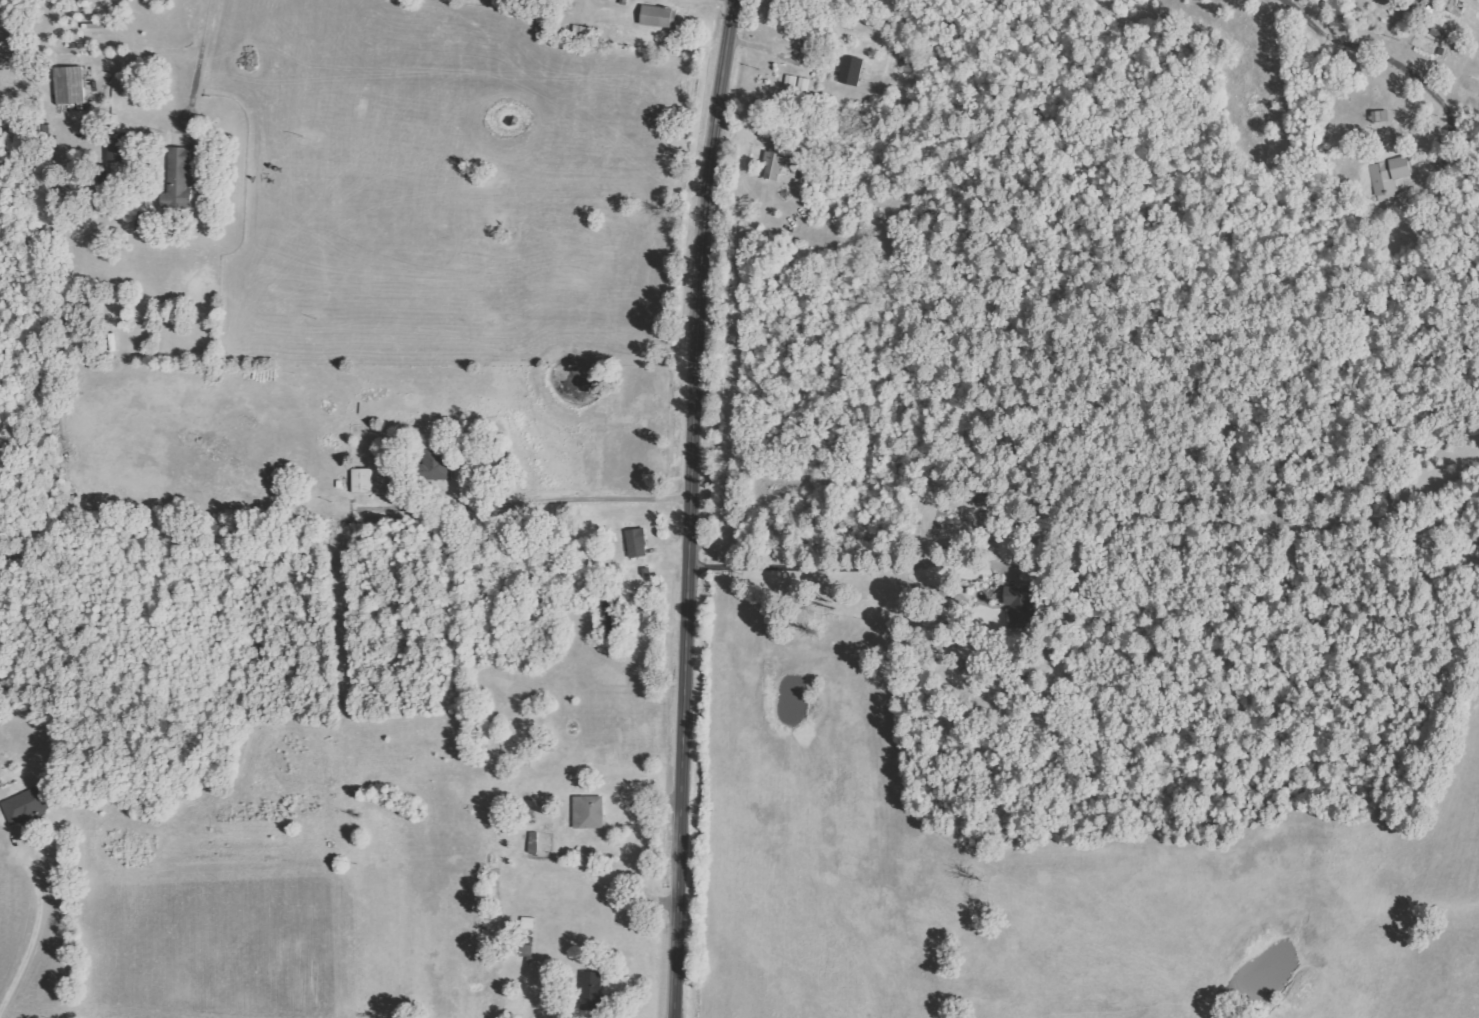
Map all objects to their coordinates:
building: (658, 17)
building: (851, 70)
building: (69, 85)
building: (118, 148)
building: (780, 160)
building: (1389, 175)
building: (180, 176)
building: (434, 462)
building: (361, 480)
road: (694, 508)
building: (637, 542)
building: (1019, 602)
building: (27, 804)
building: (589, 811)
building: (528, 923)
building: (527, 950)
building: (591, 989)

